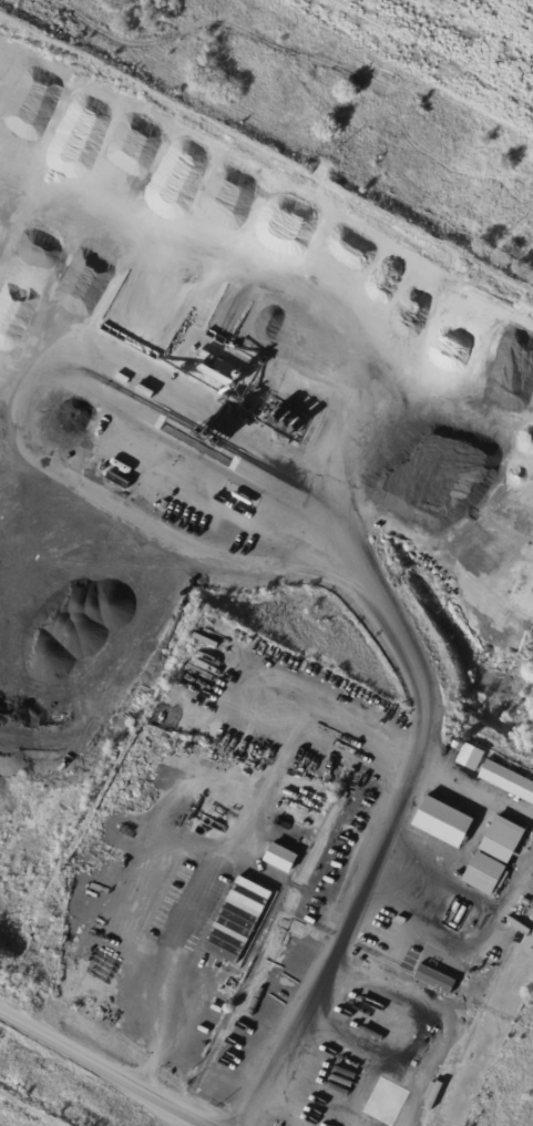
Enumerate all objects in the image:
road: (386, 602)
building: (470, 756)
building: (509, 784)
building: (445, 827)
building: (508, 843)
building: (488, 877)
building: (434, 981)
road: (158, 982)
building: (221, 1009)
building: (214, 1022)
building: (211, 1033)
road: (299, 1034)
building: (197, 1054)
building: (447, 1065)
road: (142, 1067)
road: (104, 1068)
building: (441, 1073)
road: (62, 1086)
road: (127, 1104)

